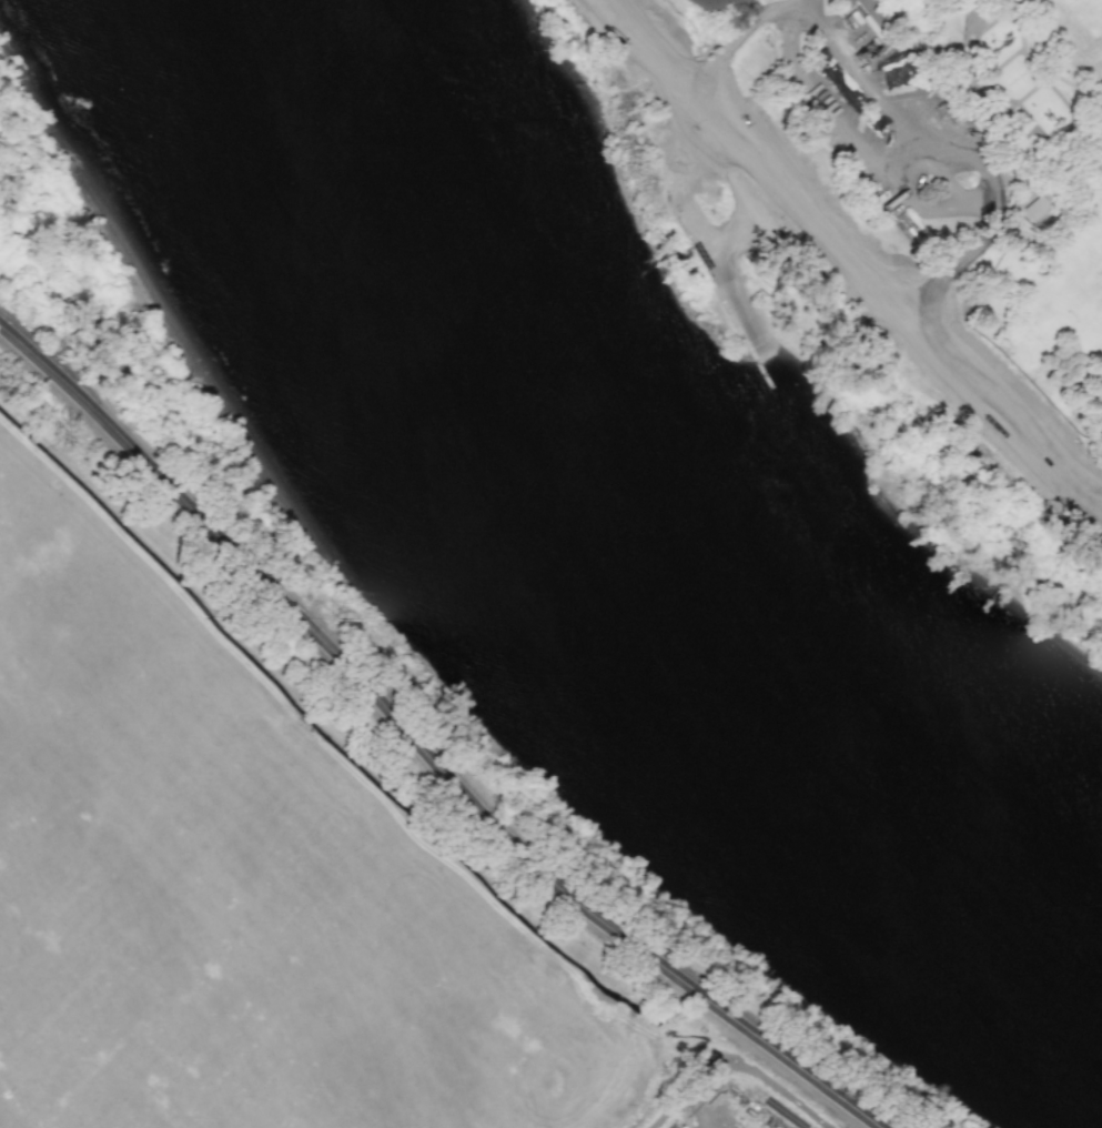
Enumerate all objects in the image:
road: (787, 4)
park: (1078, 29)
road: (689, 87)
road: (691, 94)
road: (928, 94)
road: (886, 107)
parking lot: (888, 111)
road: (857, 138)
park: (949, 171)
road: (838, 199)
road: (987, 200)
road: (704, 241)
road: (726, 243)
road: (846, 253)
park: (1080, 280)
road: (882, 303)
road: (1010, 424)
river: (623, 528)
road: (423, 749)
crop: (239, 877)
road: (701, 1077)
building: (683, 1127)

